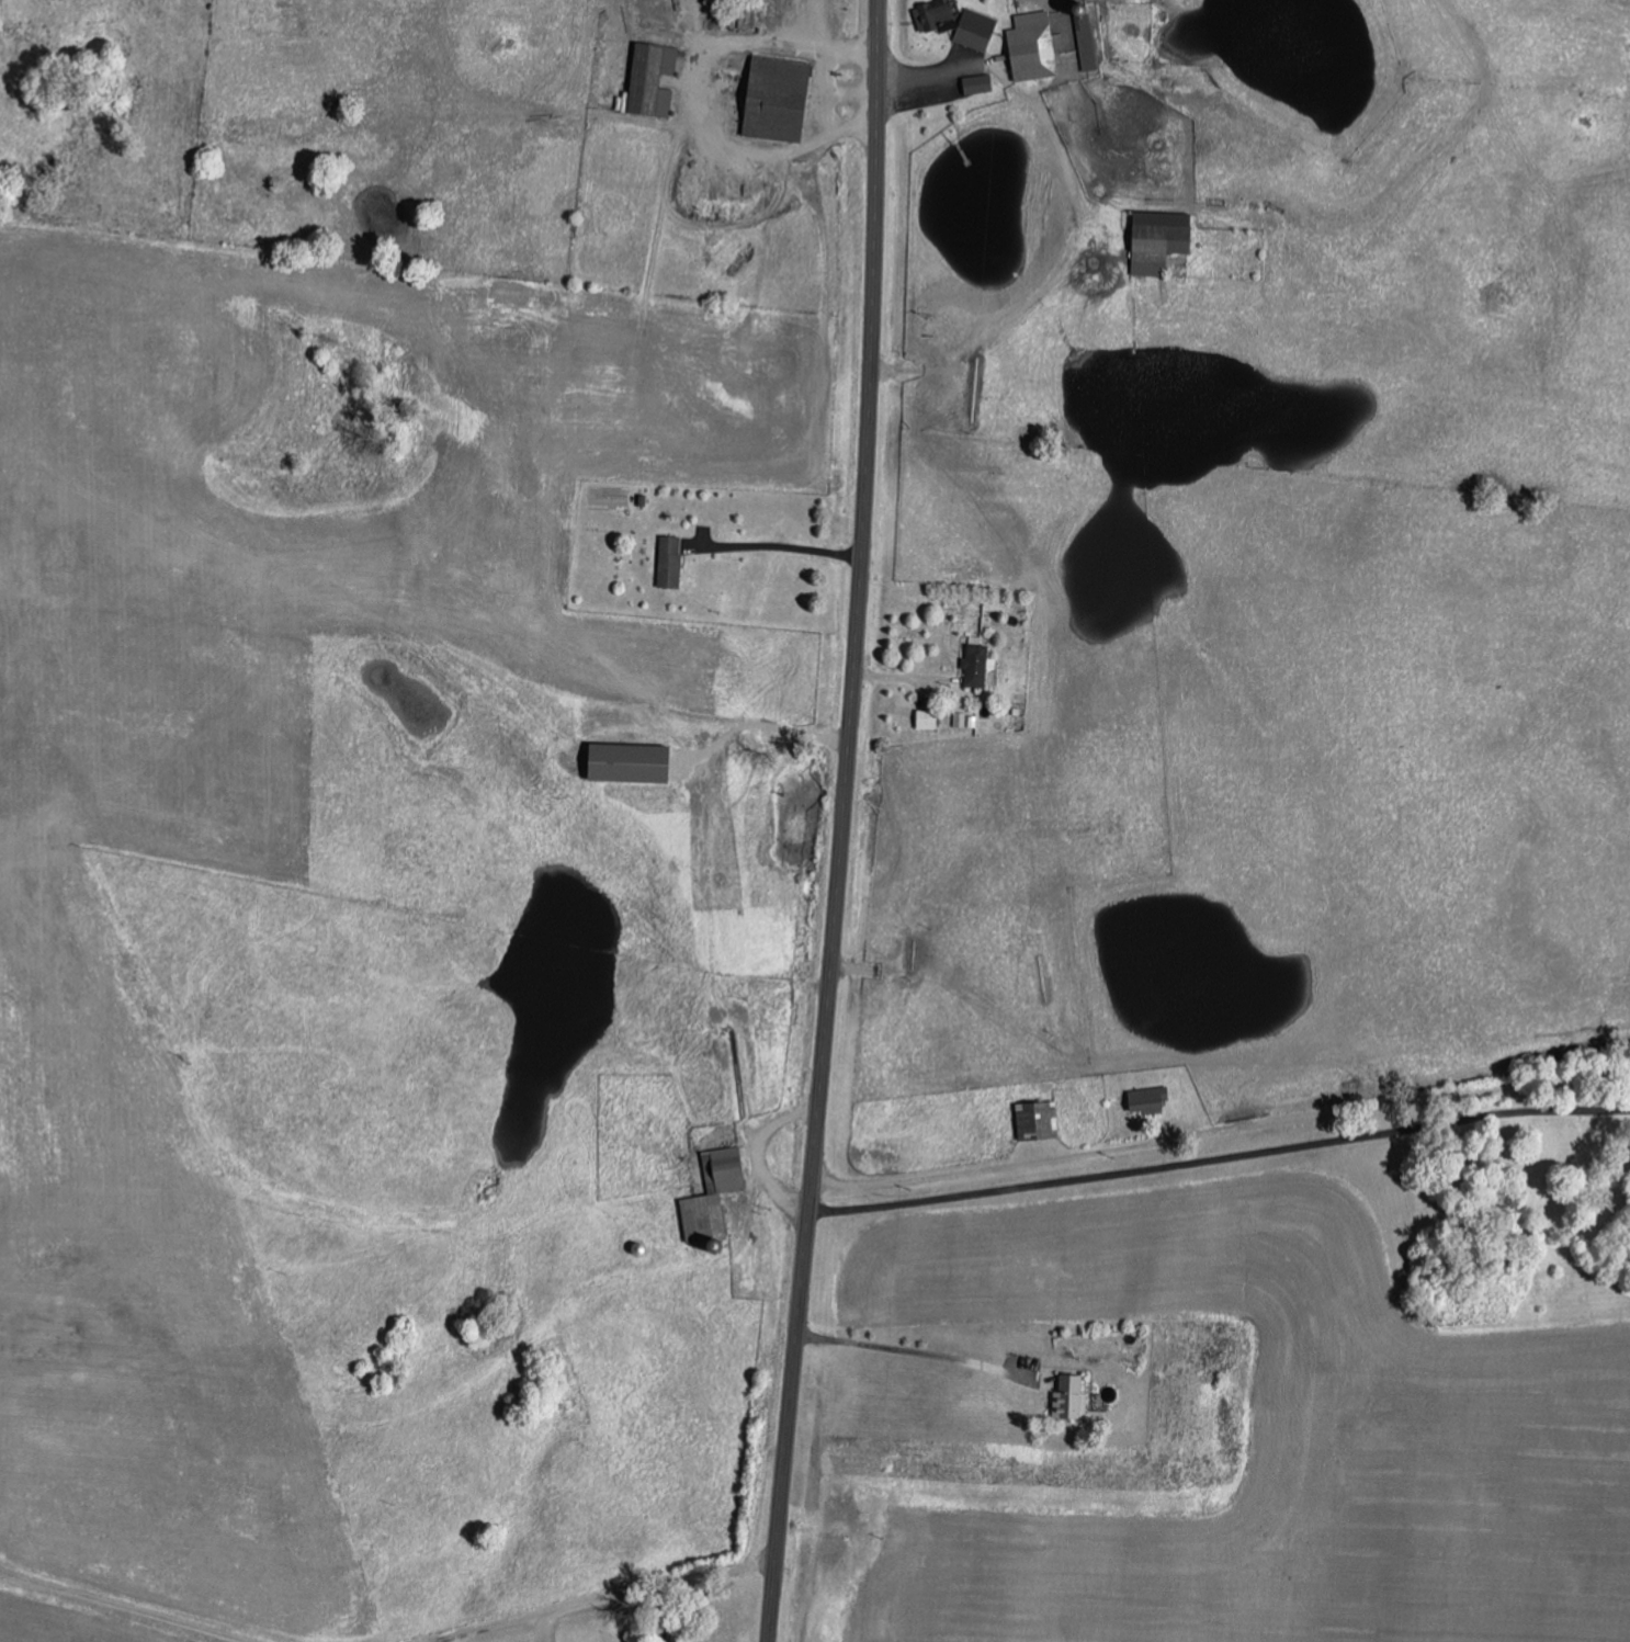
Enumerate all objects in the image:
building: (937, 16)
building: (976, 30)
building: (1034, 46)
building: (654, 79)
building: (980, 84)
building: (779, 99)
building: (1162, 240)
building: (670, 560)
building: (978, 664)
building: (929, 717)
building: (961, 718)
building: (633, 761)
road: (844, 822)
building: (1147, 1099)
building: (1039, 1118)
building: (715, 1193)
road: (1118, 1219)
building: (1072, 1397)
road: (37, 1437)
road: (653, 1618)

